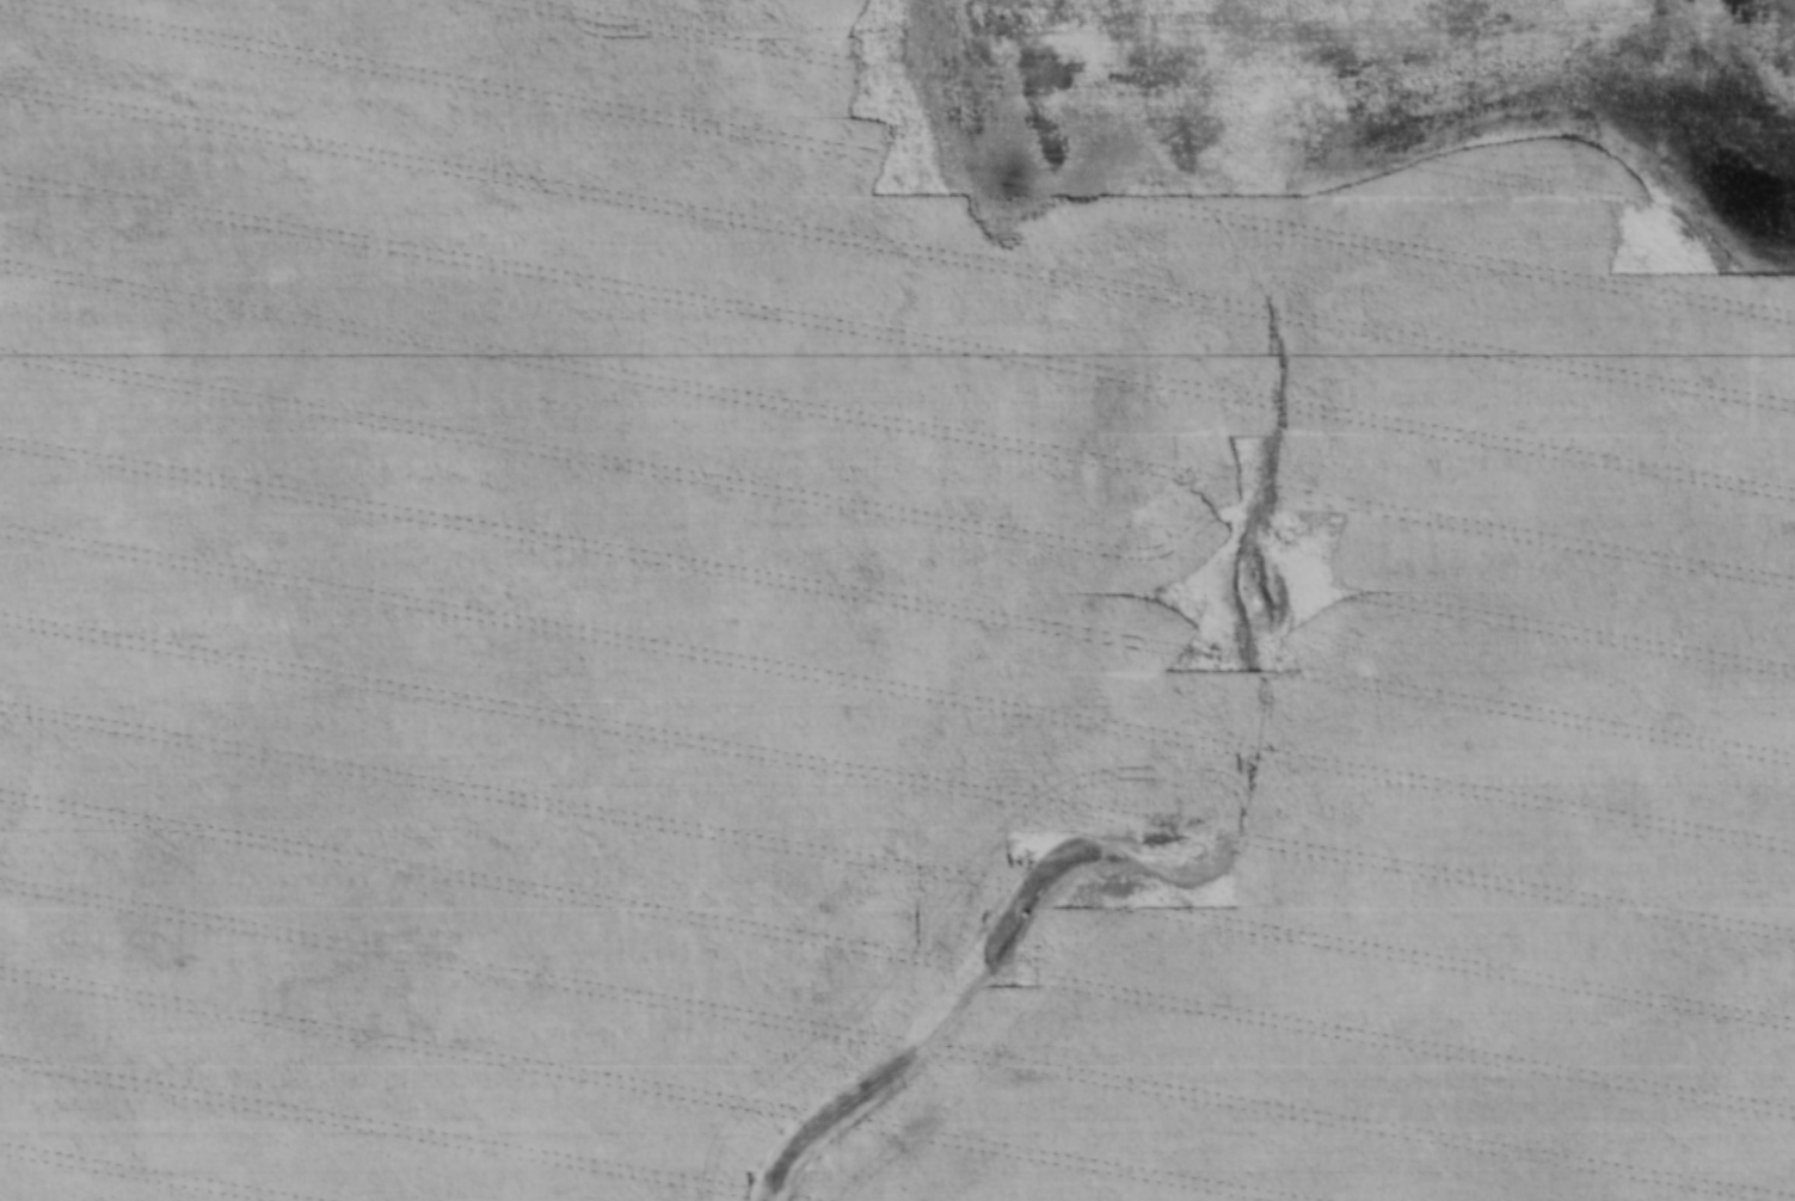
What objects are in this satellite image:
road: (1691, 599)

